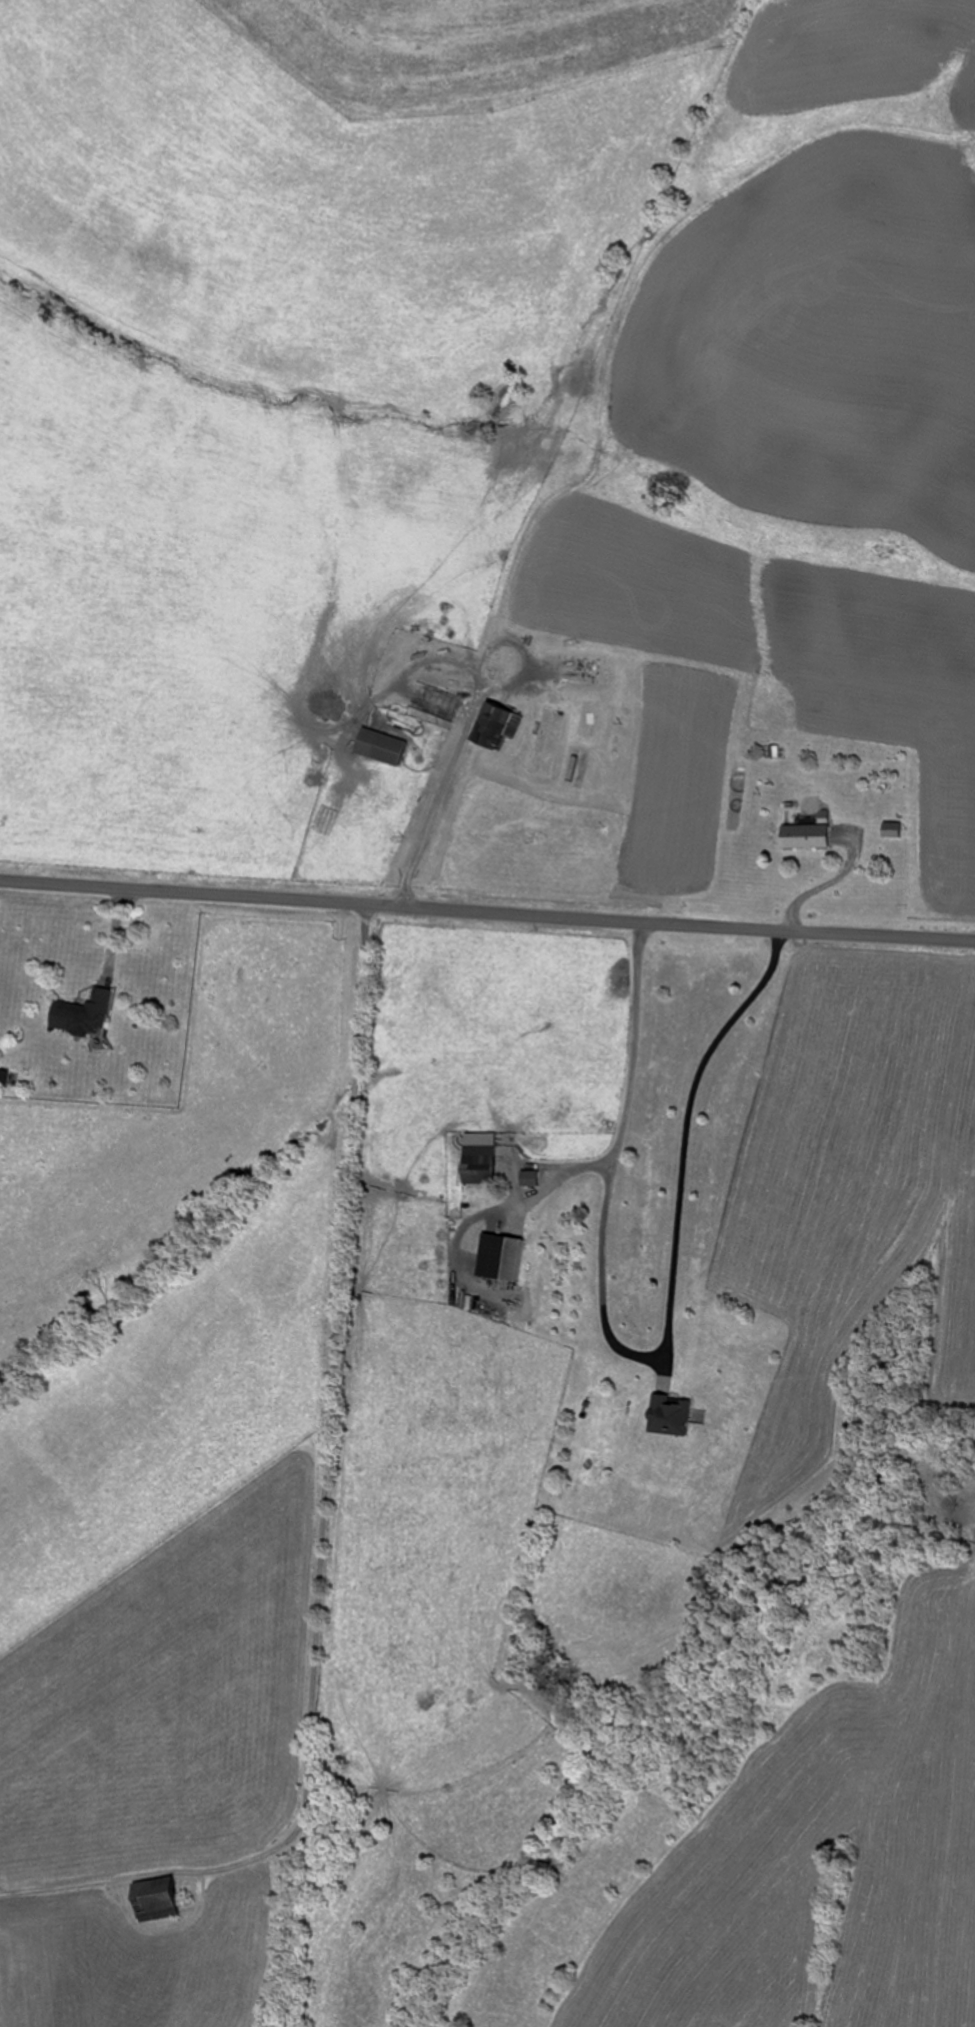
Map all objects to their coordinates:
building: (585, 671)
building: (441, 703)
building: (502, 726)
building: (548, 740)
building: (390, 747)
building: (578, 767)
building: (814, 837)
road: (487, 912)
building: (93, 1015)
building: (482, 1164)
building: (532, 1179)
building: (506, 1257)
building: (679, 1416)
road: (356, 1467)
building: (167, 1900)

